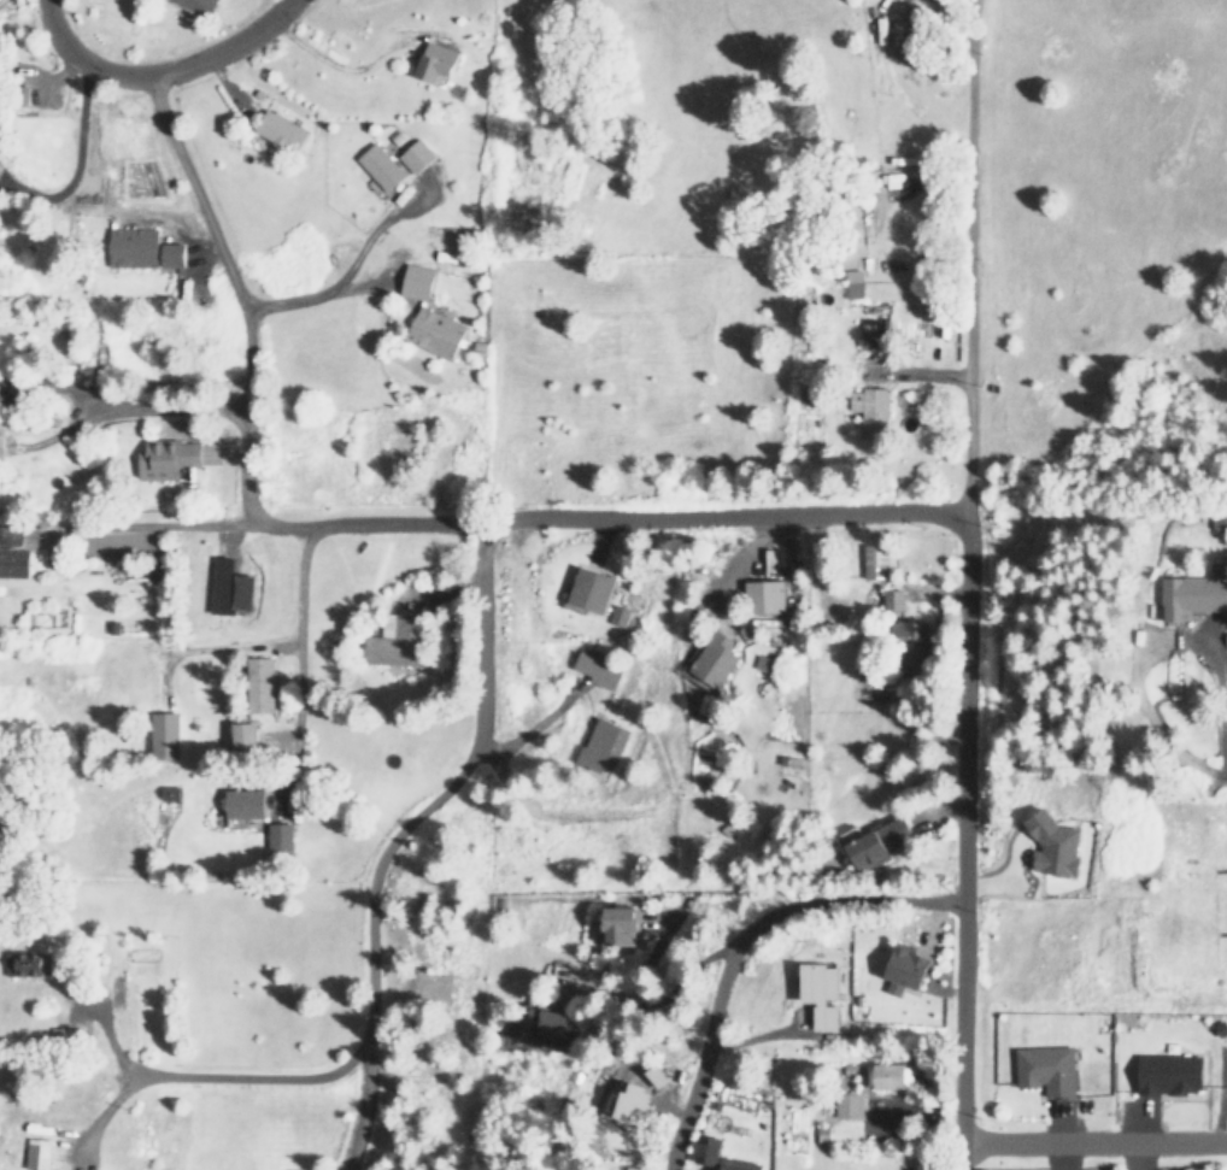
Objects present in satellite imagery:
building: (198, 6)
building: (438, 61)
road: (157, 72)
building: (281, 130)
building: (416, 154)
building: (381, 165)
building: (142, 248)
road: (965, 258)
road: (348, 270)
building: (417, 281)
building: (853, 283)
road: (245, 316)
building: (874, 331)
building: (435, 333)
road: (169, 408)
building: (870, 411)
building: (166, 458)
road: (717, 517)
building: (1219, 522)
road: (148, 527)
building: (13, 551)
building: (875, 560)
road: (300, 587)
building: (229, 588)
building: (593, 589)
building: (764, 595)
building: (1192, 595)
building: (892, 598)
building: (618, 615)
building: (911, 633)
building: (712, 660)
building: (598, 670)
building: (260, 684)
building: (165, 734)
building: (246, 735)
building: (603, 745)
building: (246, 802)
building: (278, 840)
building: (881, 841)
road: (961, 842)
building: (1053, 845)
road: (370, 922)
building: (622, 925)
road: (736, 943)
building: (23, 963)
building: (906, 969)
building: (821, 993)
building: (546, 1022)
building: (1047, 1070)
building: (1170, 1074)
building: (890, 1076)
road: (364, 1103)
building: (633, 1103)
building: (849, 1105)
building: (823, 1134)
road: (1093, 1136)
building: (710, 1147)
building: (37, 1153)

